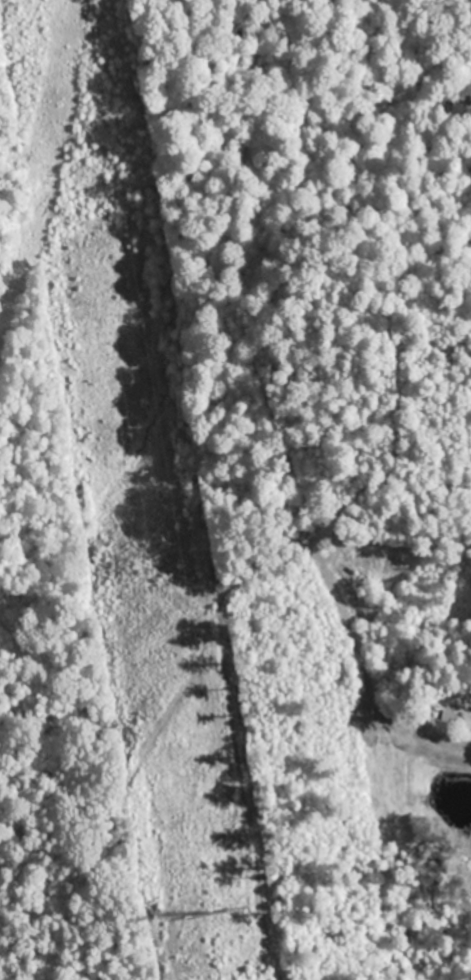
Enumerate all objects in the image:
power tower: (225, 914)

